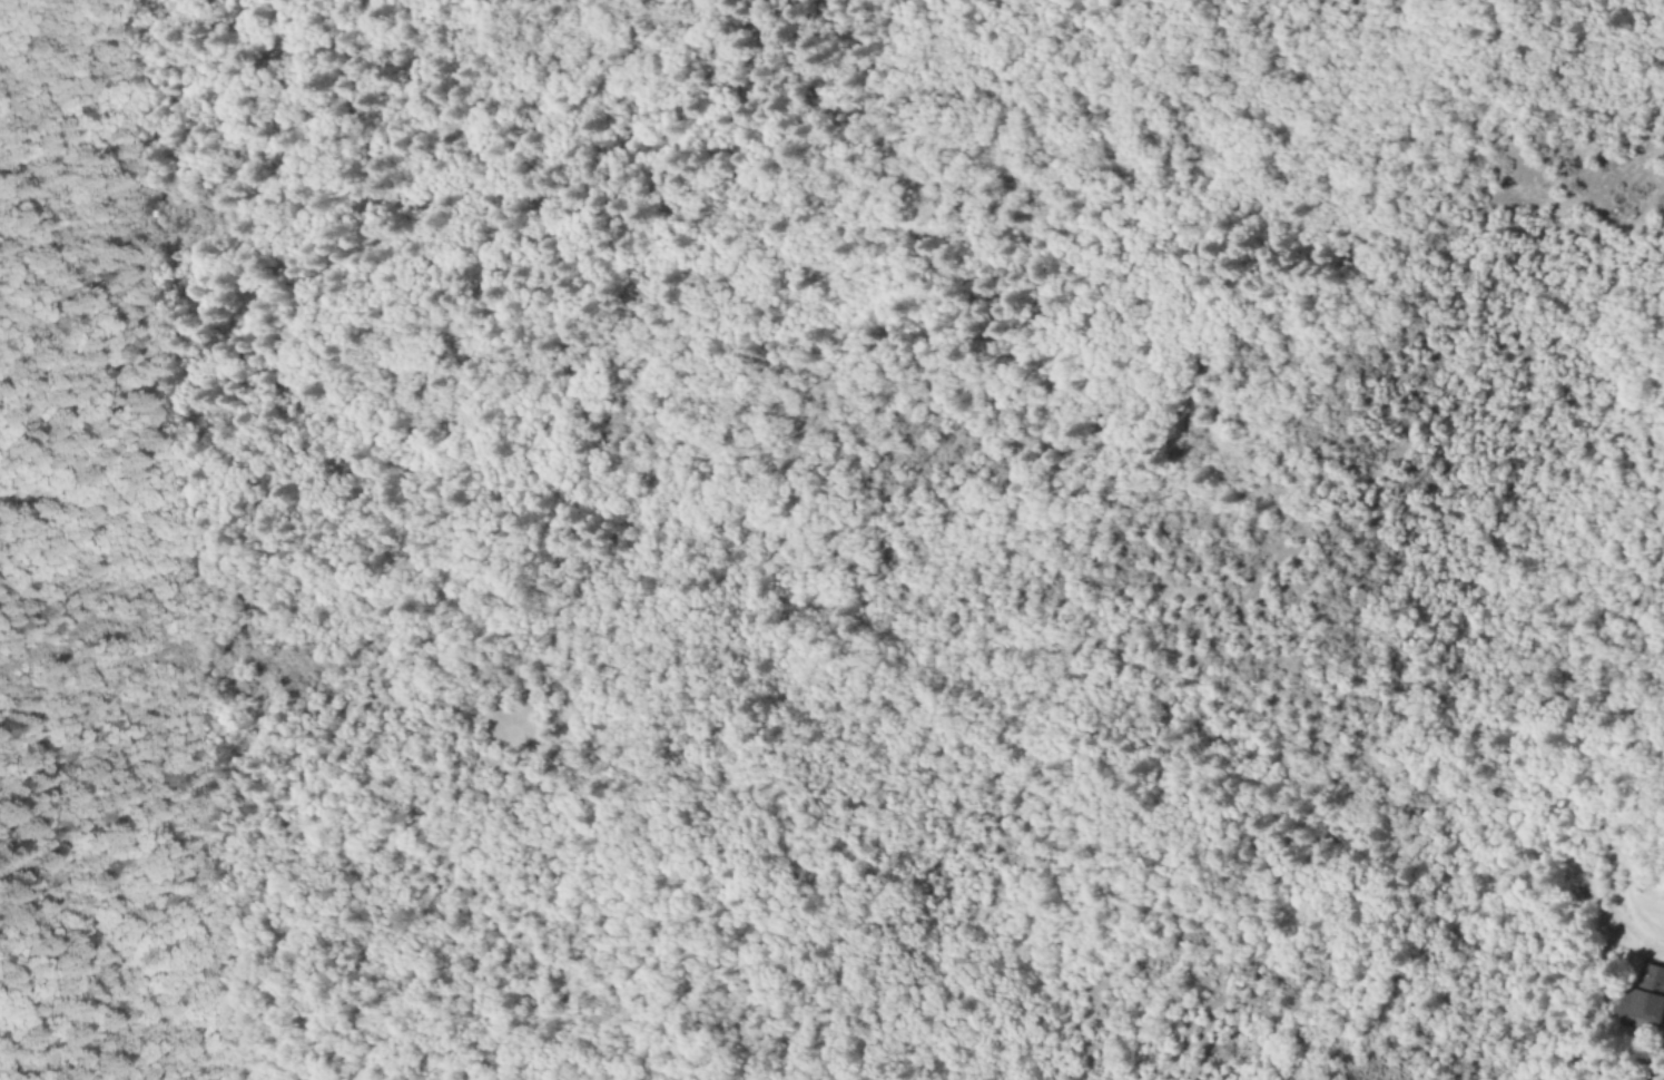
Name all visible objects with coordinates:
building: (1645, 998)
road: (1653, 1059)

